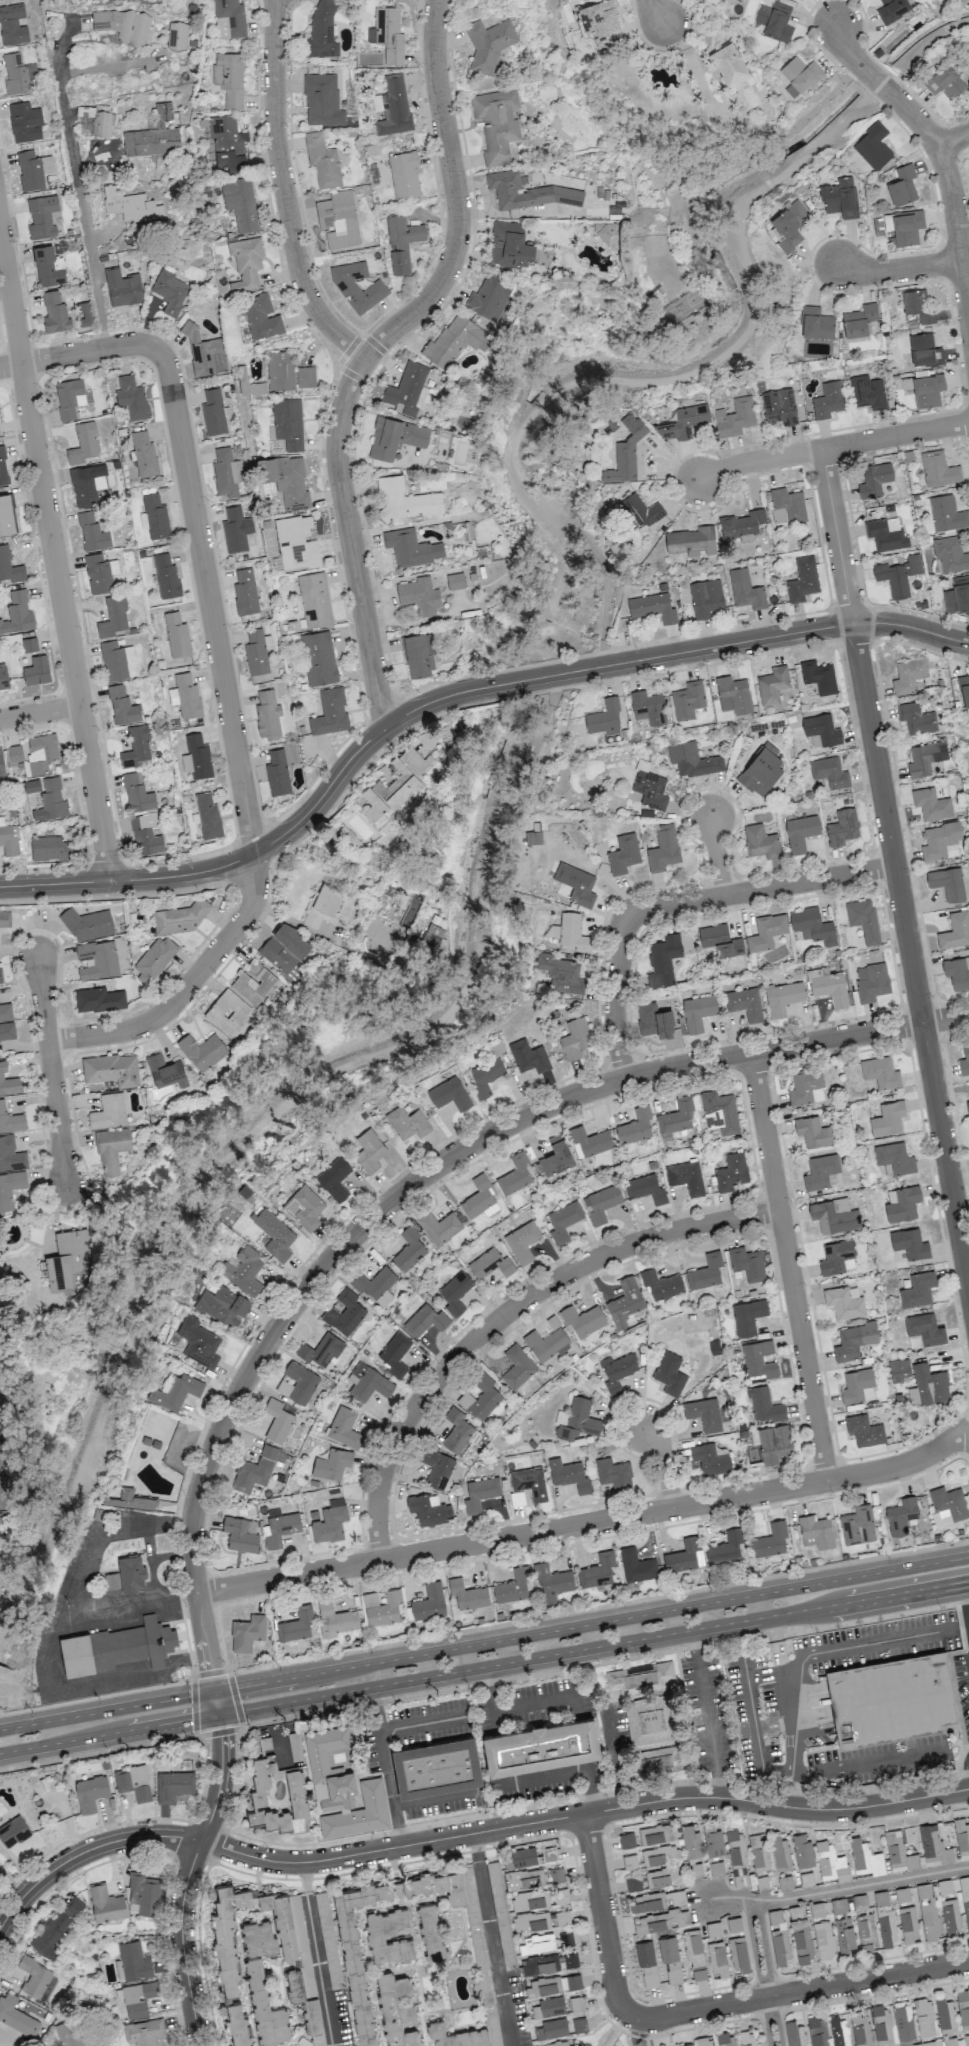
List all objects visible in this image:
building: (892, 10)
road: (654, 11)
building: (228, 19)
building: (775, 21)
building: (598, 22)
building: (12, 25)
building: (124, 25)
building: (321, 31)
building: (387, 34)
building: (177, 35)
building: (488, 44)
road: (847, 48)
road: (694, 64)
road: (110, 68)
building: (734, 73)
building: (17, 75)
building: (799, 76)
building: (229, 78)
road: (876, 79)
building: (945, 83)
building: (322, 100)
building: (392, 106)
building: (97, 120)
building: (25, 122)
building: (496, 124)
building: (154, 135)
road: (952, 138)
building: (223, 144)
building: (873, 147)
building: (322, 161)
building: (32, 170)
building: (404, 175)
building: (902, 186)
road: (284, 191)
building: (527, 192)
road: (80, 194)
road: (952, 195)
building: (839, 198)
building: (240, 203)
building: (127, 204)
building: (41, 216)
building: (338, 220)
building: (789, 225)
building: (905, 226)
building: (606, 235)
building: (401, 242)
building: (509, 245)
building: (245, 263)
building: (48, 267)
road: (899, 269)
building: (357, 286)
building: (122, 288)
building: (169, 291)
building: (489, 297)
park: (683, 303)
building: (917, 305)
building: (54, 313)
building: (85, 313)
building: (261, 317)
building: (859, 320)
building: (911, 321)
building: (815, 323)
building: (454, 341)
building: (924, 350)
road: (371, 351)
road: (77, 353)
building: (204, 353)
building: (280, 370)
building: (305, 377)
building: (407, 390)
building: (928, 390)
building: (868, 392)
building: (131, 397)
building: (69, 398)
building: (828, 400)
building: (779, 407)
building: (213, 412)
building: (735, 417)
building: (683, 422)
building: (288, 423)
building: (394, 437)
building: (83, 444)
road: (832, 446)
building: (625, 452)
building: (144, 454)
building: (3, 468)
building: (939, 469)
building: (226, 472)
building: (874, 479)
building: (286, 480)
building: (86, 484)
building: (405, 500)
building: (786, 506)
building: (641, 510)
building: (946, 513)
building: (5, 515)
building: (155, 516)
building: (741, 525)
building: (236, 529)
building: (92, 533)
building: (885, 535)
road: (836, 536)
building: (691, 541)
building: (296, 543)
building: (411, 548)
road: (54, 553)
building: (950, 554)
building: (9, 567)
building: (100, 573)
building: (898, 575)
building: (166, 577)
building: (802, 579)
building: (455, 581)
building: (745, 590)
building: (245, 592)
building: (419, 595)
building: (957, 595)
building: (705, 598)
building: (314, 599)
building: (652, 607)
building: (17, 613)
building: (113, 617)
road: (910, 626)
building: (176, 635)
building: (29, 645)
road: (696, 650)
building: (257, 651)
building: (418, 655)
building: (318, 658)
building: (115, 660)
building: (36, 671)
building: (818, 676)
building: (908, 676)
building: (3, 677)
road: (516, 681)
building: (772, 685)
building: (964, 690)
building: (733, 695)
building: (185, 696)
building: (687, 700)
building: (122, 706)
building: (648, 707)
building: (330, 712)
road: (40, 713)
building: (267, 715)
building: (604, 718)
building: (916, 718)
building: (822, 729)
building: (135, 746)
building: (41, 752)
road: (235, 752)
building: (14, 754)
building: (196, 757)
building: (925, 758)
building: (692, 760)
building: (1, 766)
building: (761, 770)
building: (277, 772)
building: (829, 772)
building: (395, 783)
building: (31, 786)
building: (650, 789)
building: (137, 792)
building: (50, 800)
building: (931, 804)
building: (208, 816)
building: (842, 827)
building: (800, 832)
building: (146, 834)
building: (533, 837)
building: (9, 839)
building: (940, 841)
road: (271, 842)
building: (761, 842)
building: (51, 848)
building: (663, 848)
building: (623, 854)
road: (716, 856)
building: (947, 883)
building: (572, 885)
road: (761, 889)
building: (323, 905)
building: (5, 919)
building: (178, 919)
building: (863, 919)
building: (87, 924)
building: (812, 926)
building: (955, 930)
building: (766, 931)
building: (572, 932)
building: (720, 940)
building: (284, 949)
road: (909, 958)
building: (154, 959)
building: (96, 960)
building: (663, 960)
building: (957, 972)
building: (561, 974)
building: (0, 975)
building: (871, 981)
building: (253, 982)
building: (830, 988)
road: (614, 994)
building: (782, 997)
building: (98, 999)
building: (744, 1003)
building: (5, 1011)
building: (227, 1011)
building: (697, 1012)
building: (654, 1020)
building: (7, 1031)
building: (575, 1038)
building: (202, 1050)
building: (528, 1056)
building: (964, 1059)
building: (111, 1069)
building: (166, 1071)
road: (51, 1072)
building: (880, 1072)
building: (485, 1076)
building: (8, 1082)
building: (870, 1085)
building: (806, 1086)
building: (449, 1094)
building: (967, 1107)
building: (108, 1111)
building: (719, 1112)
building: (676, 1116)
building: (887, 1118)
building: (10, 1120)
building: (407, 1122)
building: (635, 1126)
building: (813, 1132)
building: (589, 1141)
building: (111, 1149)
building: (369, 1150)
building: (11, 1154)
building: (556, 1156)
building: (894, 1158)
building: (820, 1171)
building: (731, 1172)
building: (515, 1174)
building: (686, 1177)
building: (334, 1178)
road: (413, 1182)
building: (645, 1188)
building: (10, 1189)
building: (479, 1198)
building: (601, 1203)
building: (902, 1203)
building: (304, 1207)
building: (834, 1215)
building: (563, 1221)
building: (439, 1227)
building: (273, 1233)
building: (522, 1242)
building: (909, 1243)
building: (409, 1249)
building: (67, 1257)
building: (837, 1257)
building: (746, 1263)
building: (490, 1264)
road: (788, 1266)
building: (243, 1270)
building: (705, 1272)
building: (661, 1284)
building: (375, 1285)
building: (917, 1289)
building: (455, 1292)
building: (625, 1302)
building: (844, 1302)
building: (222, 1306)
road: (506, 1312)
building: (344, 1313)
building: (747, 1316)
building: (425, 1320)
building: (582, 1320)
building: (925, 1329)
building: (853, 1340)
building: (198, 1342)
building: (546, 1344)
building: (321, 1350)
building: (394, 1353)
building: (759, 1359)
building: (517, 1367)
building: (899, 1369)
building: (616, 1371)
building: (669, 1373)
building: (298, 1383)
building: (368, 1383)
building: (857, 1386)
building: (927, 1386)
building: (175, 1391)
building: (480, 1397)
building: (764, 1405)
building: (704, 1413)
building: (277, 1420)
building: (576, 1420)
building: (344, 1428)
building: (456, 1430)
building: (864, 1430)
building: (772, 1443)
building: (710, 1459)
building: (332, 1464)
road: (665, 1464)
building: (436, 1467)
building: (256, 1469)
building: (614, 1473)
building: (568, 1475)
building: (529, 1482)
road: (0, 1489)
building: (480, 1493)
building: (131, 1499)
building: (947, 1505)
building: (428, 1509)
building: (901, 1515)
building: (330, 1522)
road: (587, 1522)
building: (857, 1525)
building: (279, 1529)
building: (816, 1531)
building: (239, 1535)
building: (770, 1540)
building: (725, 1548)
building: (684, 1556)
road: (172, 1557)
road: (154, 1563)
building: (636, 1565)
building: (597, 1570)
building: (131, 1573)
building: (111, 1580)
building: (552, 1583)
building: (512, 1586)
building: (467, 1594)
building: (429, 1602)
road: (132, 1606)
building: (382, 1607)
road: (967, 1613)
building: (335, 1619)
building: (296, 1624)
road: (774, 1628)
building: (247, 1632)
road: (58, 1640)
road: (872, 1642)
building: (133, 1643)
road: (484, 1643)
building: (76, 1654)
road: (778, 1656)
road: (743, 1663)
road: (484, 1667)
traffic signals: (210, 1670)
road: (765, 1674)
building: (640, 1676)
traffic signals: (236, 1688)
road: (491, 1698)
building: (891, 1699)
road: (543, 1700)
road: (216, 1703)
road: (706, 1713)
traffic signals: (191, 1719)
building: (650, 1719)
road: (425, 1723)
traffic signals: (222, 1735)
building: (540, 1746)
building: (324, 1747)
road: (612, 1756)
building: (655, 1761)
road: (868, 1762)
road: (386, 1766)
building: (436, 1766)
road: (968, 1766)
road: (566, 1773)
building: (133, 1782)
building: (173, 1785)
building: (90, 1792)
road: (788, 1794)
building: (278, 1797)
road: (436, 1798)
building: (336, 1803)
building: (13, 1831)
building: (657, 1833)
road: (464, 1835)
building: (962, 1838)
building: (626, 1840)
building: (713, 1841)
building: (691, 1842)
building: (934, 1846)
building: (802, 1850)
building: (548, 1853)
building: (759, 1853)
building: (898, 1853)
building: (659, 1854)
building: (523, 1856)
building: (865, 1856)
building: (737, 1858)
building: (630, 1862)
building: (830, 1862)
building: (716, 1868)
building: (556, 1874)
road: (186, 1877)
building: (654, 1878)
building: (529, 1879)
building: (762, 1882)
road: (838, 1889)
building: (143, 1893)
building: (902, 1894)
building: (560, 1896)
building: (965, 1897)
building: (530, 1900)
building: (656, 1900)
building: (859, 1901)
building: (105, 1903)
building: (949, 1906)
building: (928, 1912)
road: (601, 1915)
building: (562, 1917)
building: (884, 1919)
building: (665, 1920)
building: (531, 1921)
building: (908, 1923)
building: (734, 1924)
building: (842, 1926)
building: (712, 1929)
building: (55, 1930)
building: (430, 1931)
building: (866, 1931)
building: (227, 1935)
building: (779, 1936)
building: (388, 1937)
building: (258, 1938)
building: (328, 1940)
road: (491, 1940)
building: (823, 1940)
building: (546, 1941)
building: (802, 1945)
building: (357, 1953)
building: (295, 1954)
road: (317, 1954)
building: (695, 1954)
building: (738, 1954)
building: (670, 1958)
building: (717, 1959)
building: (570, 1960)
building: (133, 1961)
building: (480, 1963)
building: (540, 1964)
building: (647, 1964)
road: (757, 1972)
road: (770, 1973)
building: (33, 1976)
building: (553, 1984)
road: (797, 1991)
building: (138, 1998)
building: (576, 2003)
building: (551, 2006)
building: (963, 2006)
building: (265, 2007)
building: (395, 2013)
building: (945, 2014)
building: (17, 2015)
building: (924, 2015)
building: (903, 2022)
building: (580, 2024)
building: (237, 2025)
building: (551, 2028)
building: (860, 2028)
building: (817, 2031)
building: (838, 2031)
building: (144, 2032)
building: (67, 2034)
building: (795, 2034)
building: (725, 2038)
building: (746, 2038)
building: (704, 2041)
building: (558, 2043)
building: (685, 2045)

